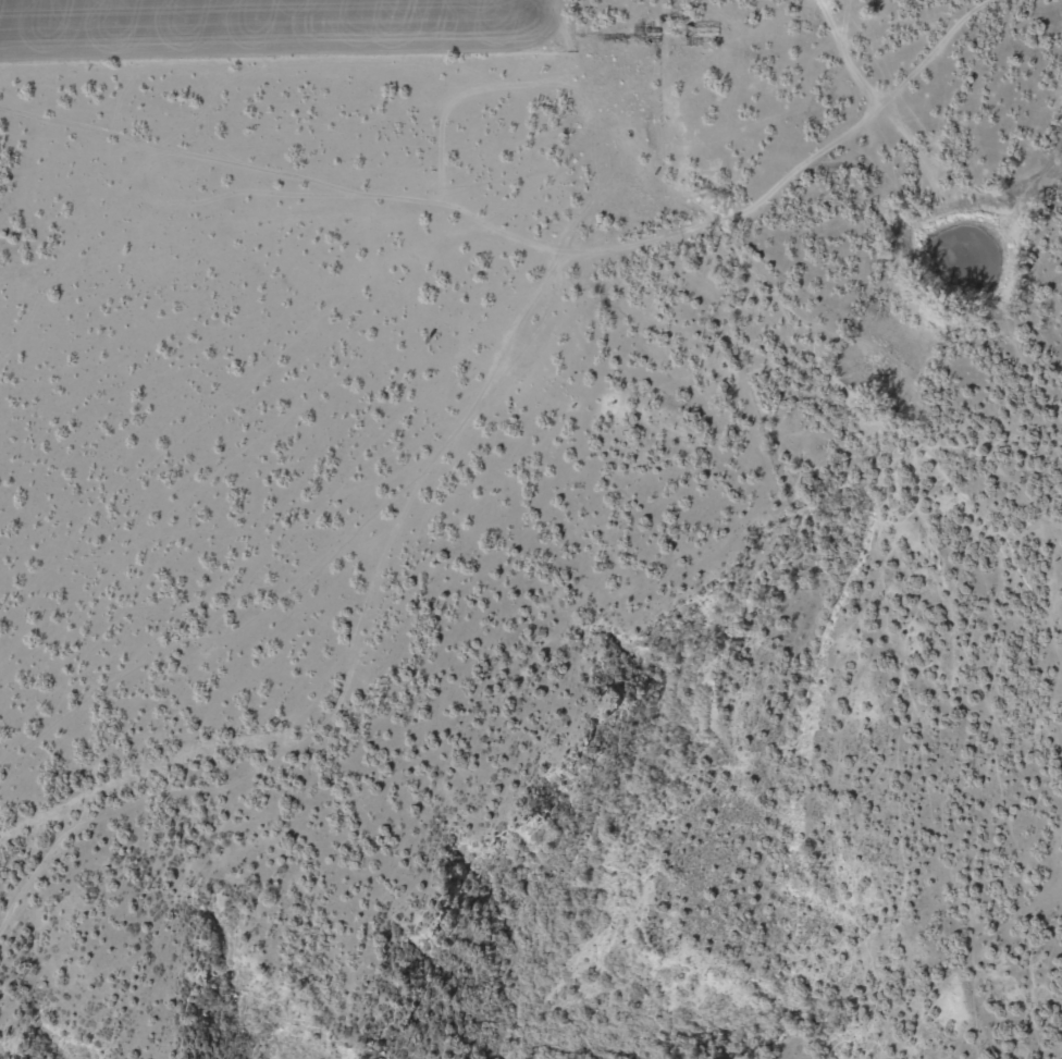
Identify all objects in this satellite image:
building: (701, 33)
road: (818, 173)
road: (292, 321)
road: (375, 755)

